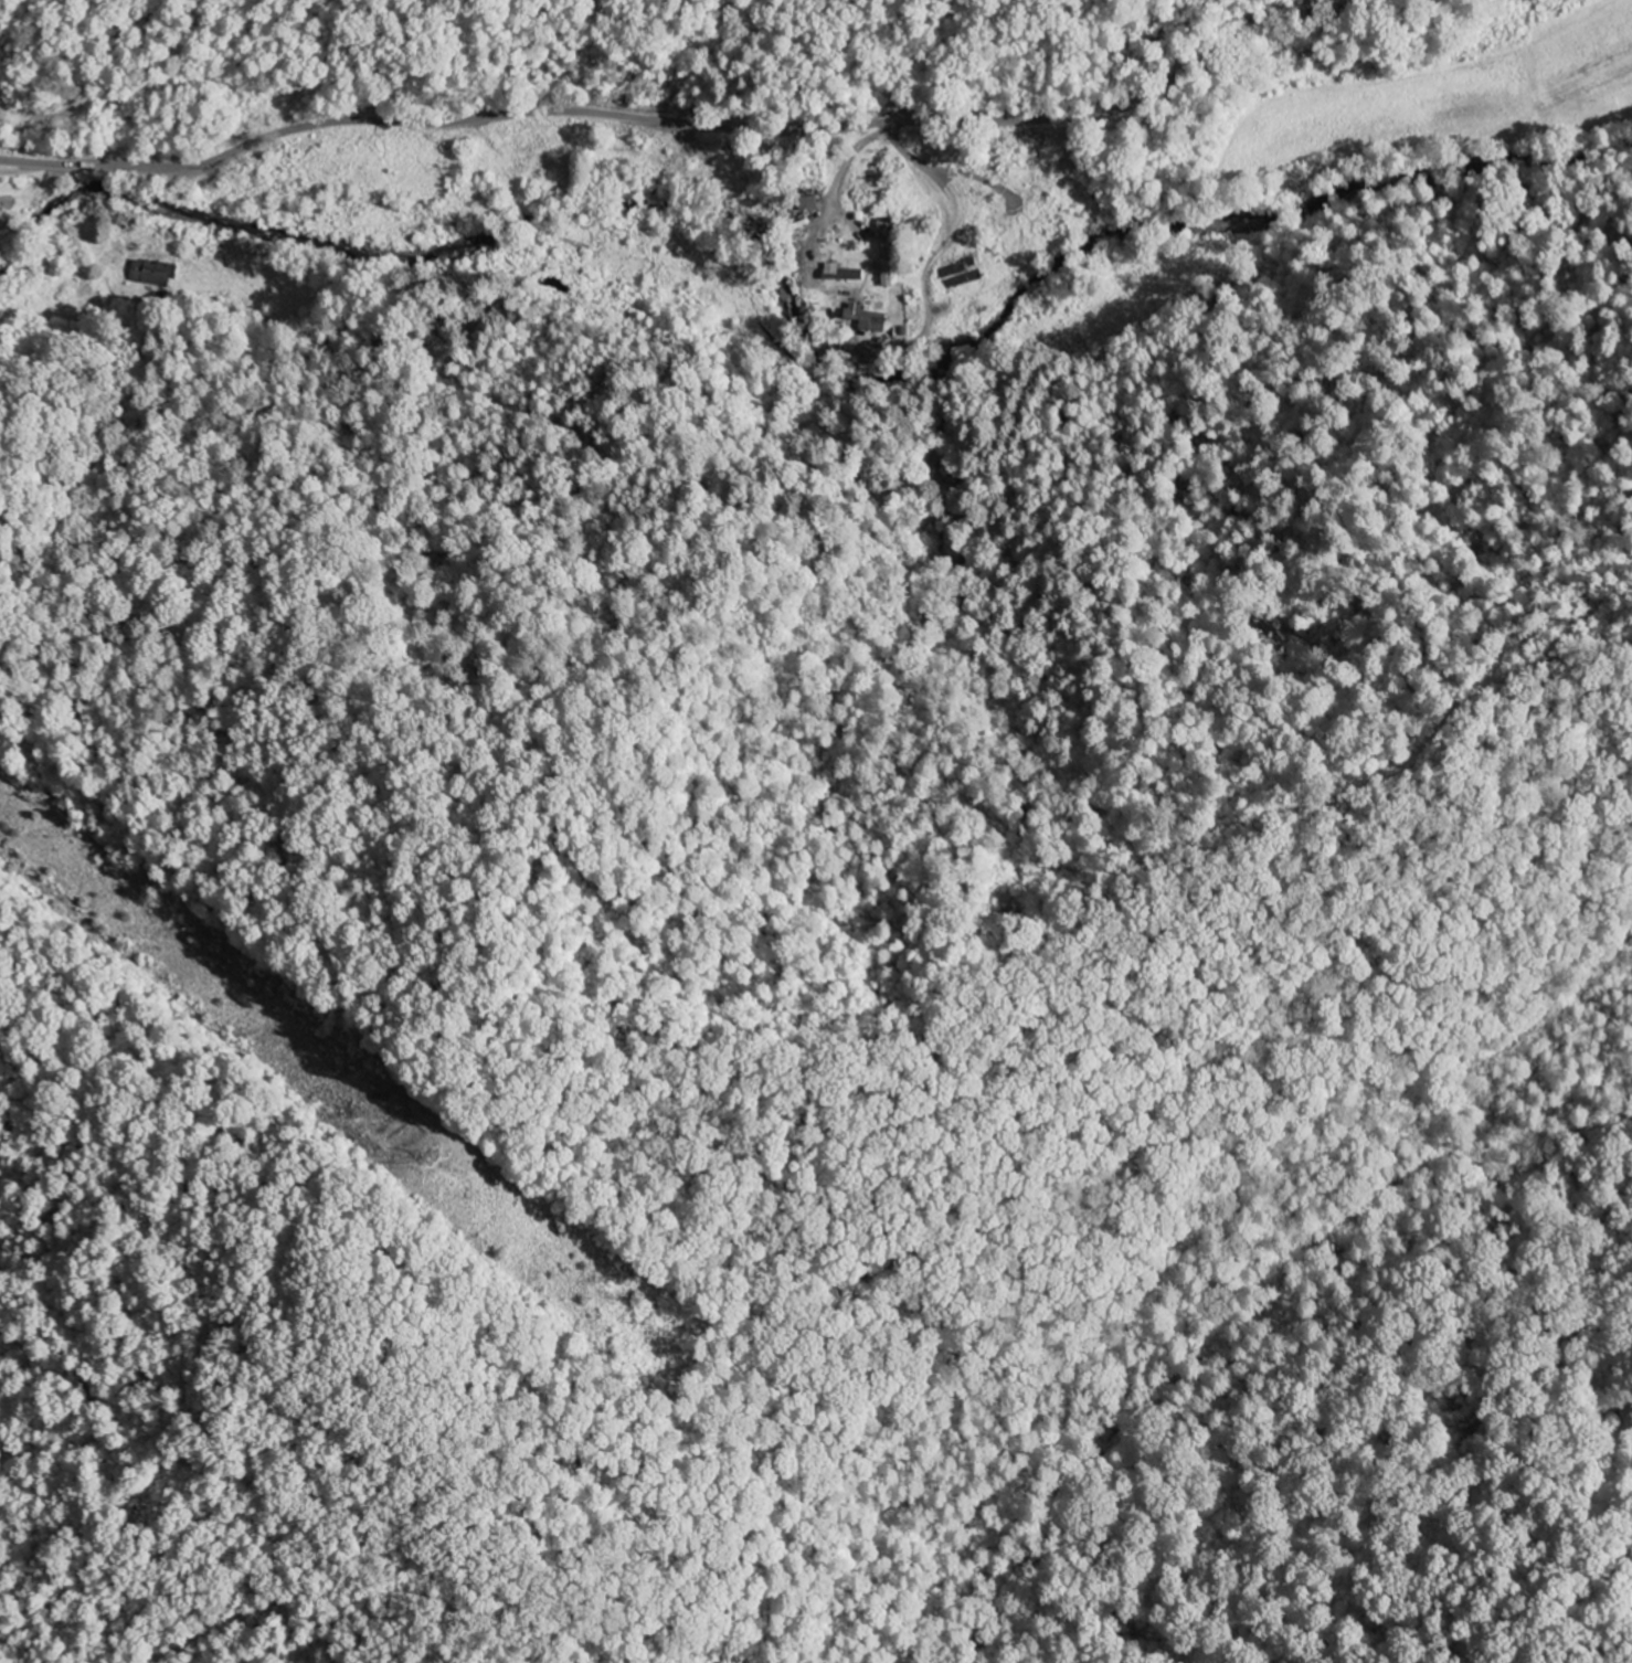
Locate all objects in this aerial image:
road: (666, 119)
road: (921, 161)
building: (887, 269)
building: (843, 273)
building: (865, 317)
power tower: (427, 1158)

